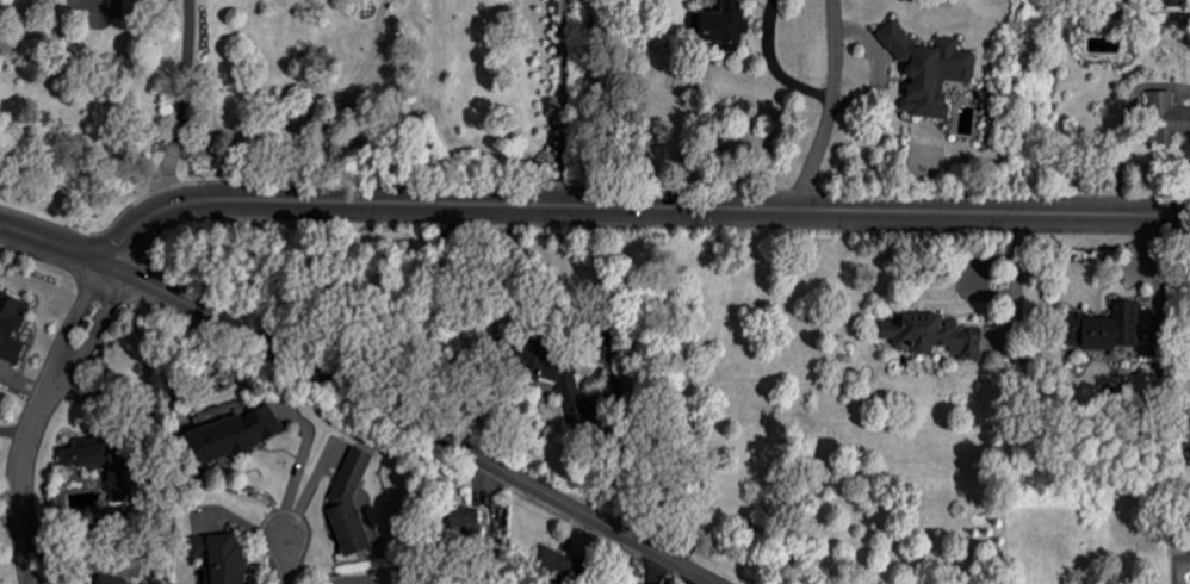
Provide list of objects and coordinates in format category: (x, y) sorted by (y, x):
building: (1177, 2)
building: (711, 5)
building: (724, 25)
building: (929, 70)
road: (831, 107)
road: (182, 112)
building: (1166, 118)
road: (1122, 122)
road: (637, 206)
road: (57, 247)
building: (11, 325)
building: (1105, 328)
building: (932, 335)
road: (600, 342)
building: (551, 377)
road: (35, 417)
road: (415, 424)
building: (233, 435)
building: (99, 466)
building: (349, 504)
building: (464, 518)
building: (221, 557)
road: (286, 557)
building: (558, 565)
road: (650, 567)
building: (113, 579)

